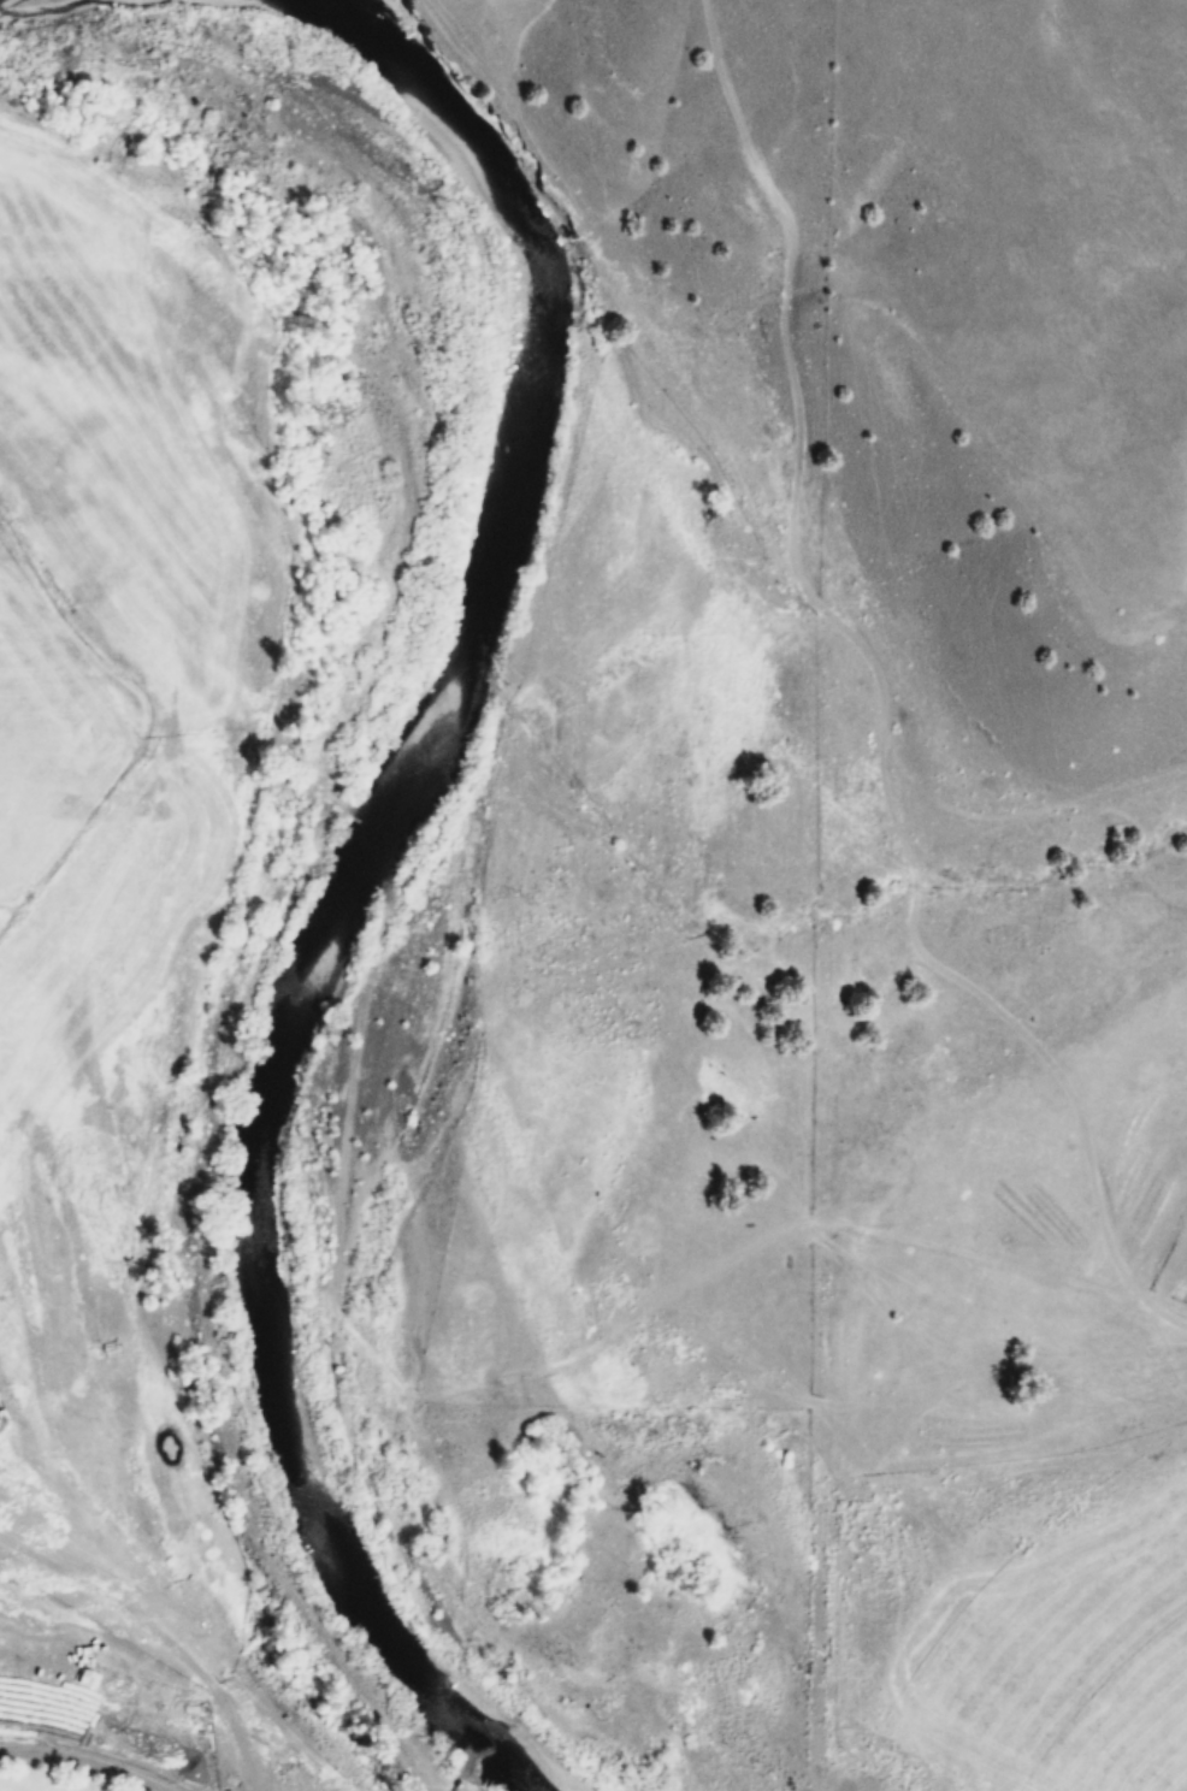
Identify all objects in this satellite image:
river: (356, 886)
road: (78, 1765)

